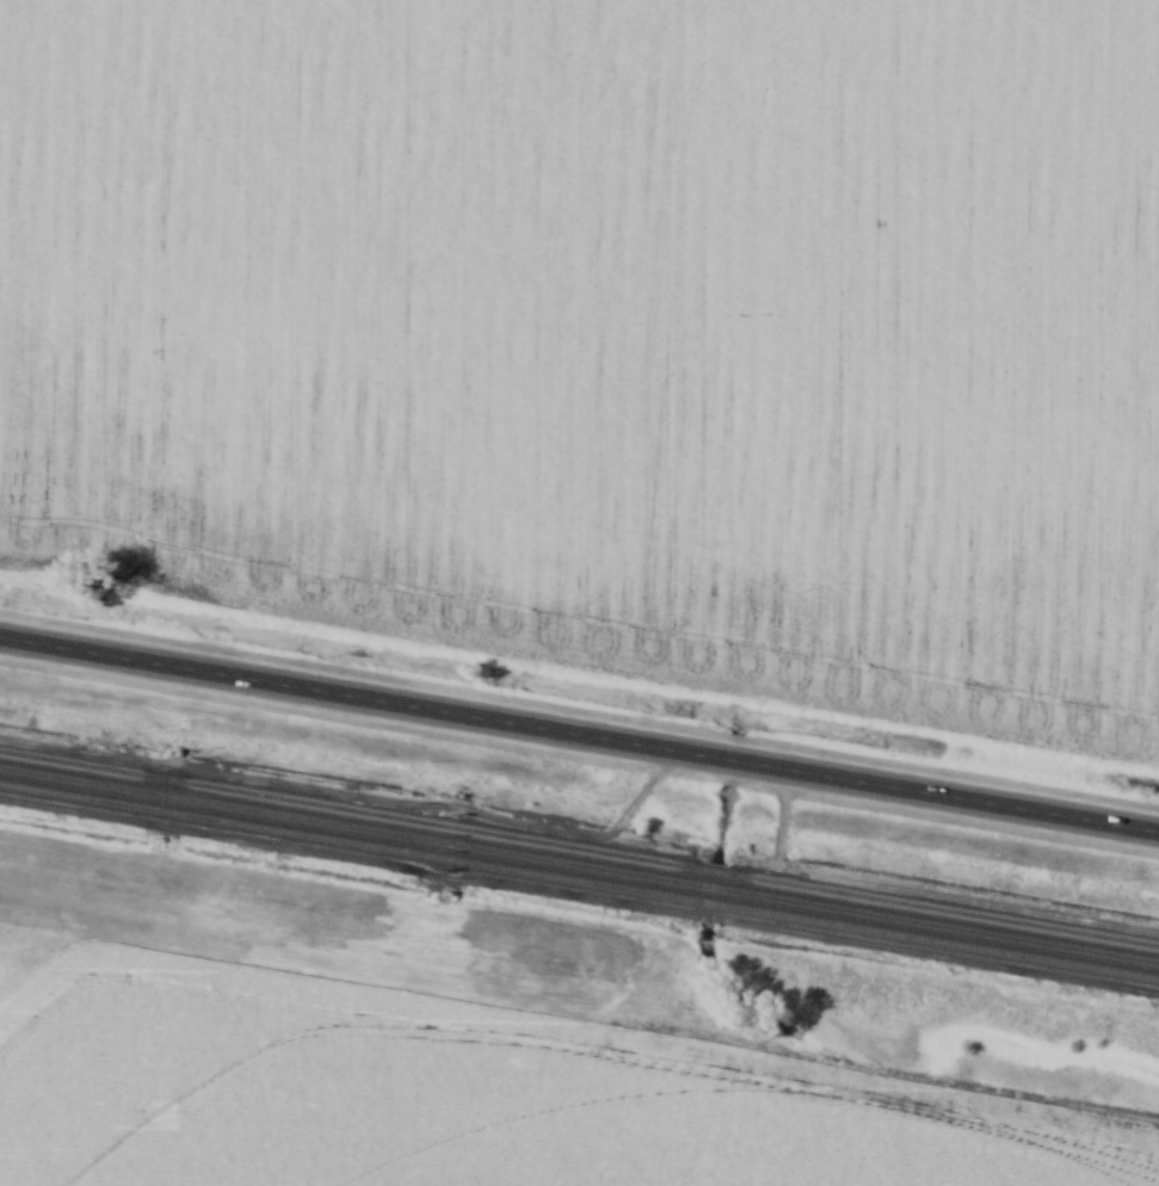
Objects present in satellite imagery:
road: (579, 734)
railway: (579, 848)
railway: (579, 865)
railway: (579, 882)

